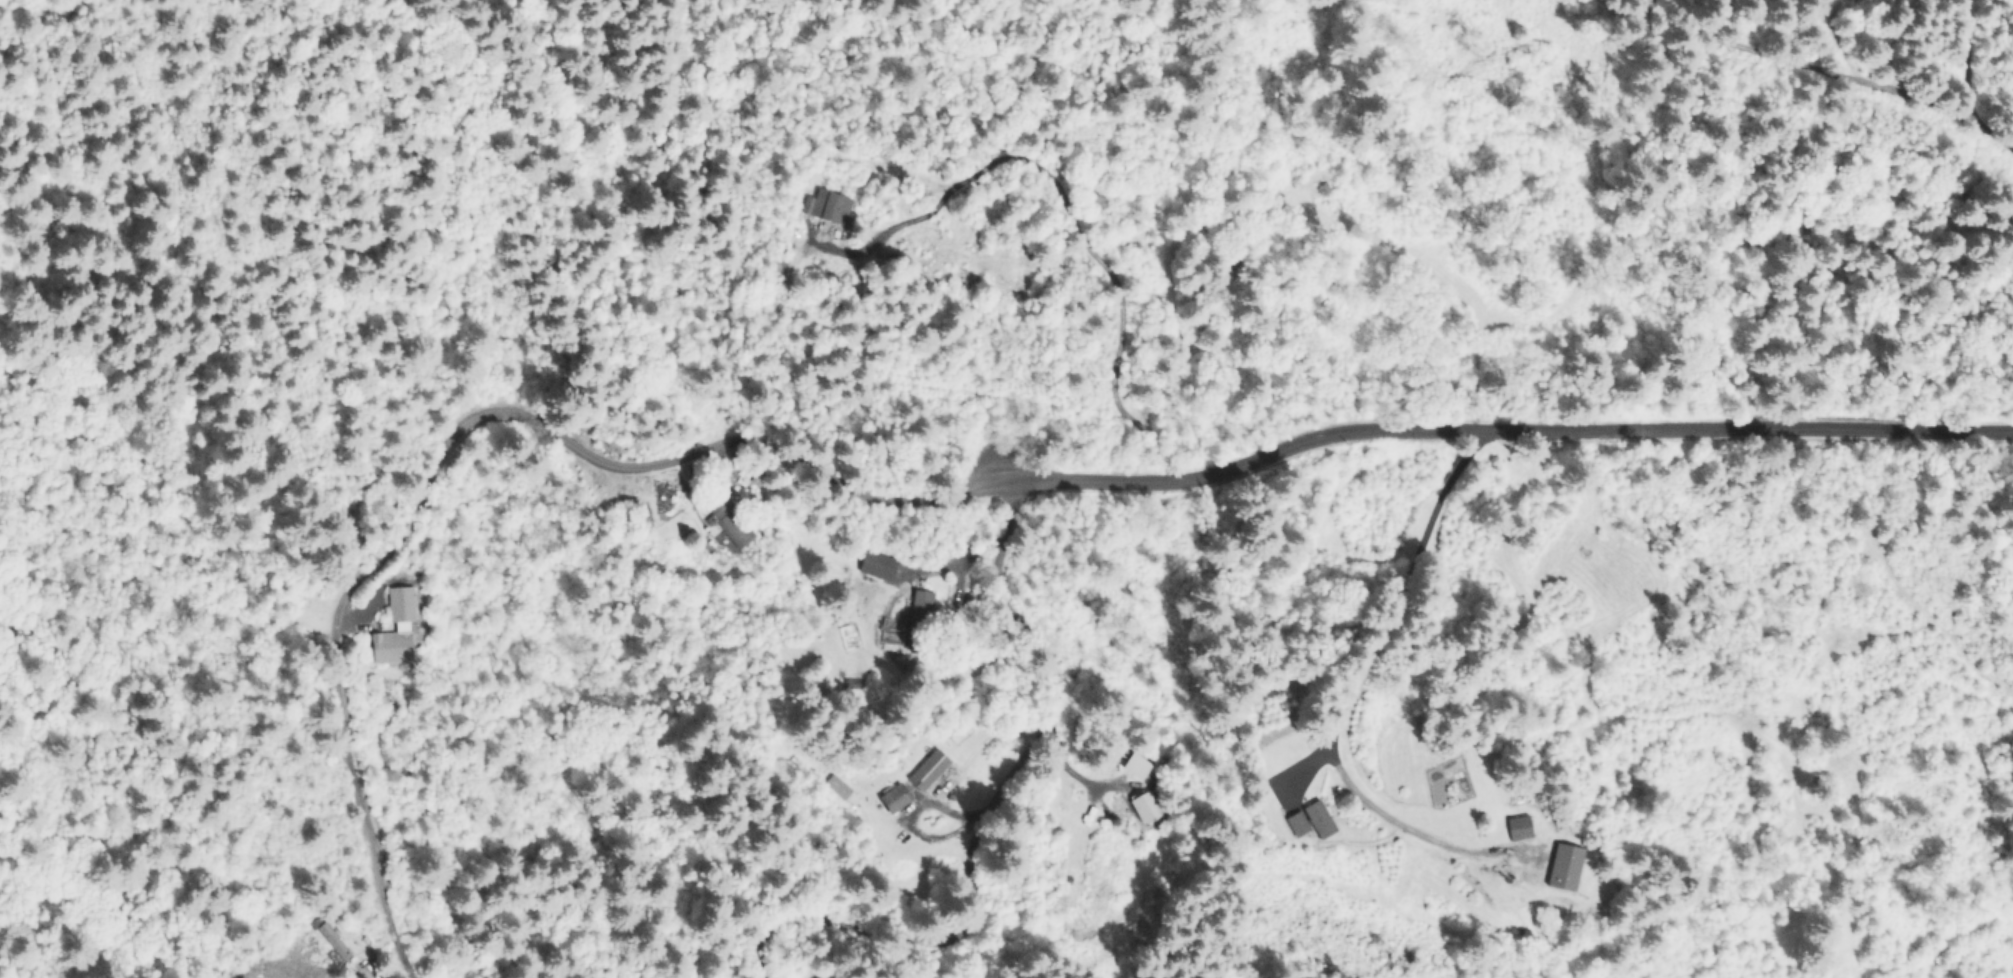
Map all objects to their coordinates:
road: (1838, 69)
building: (828, 209)
building: (1244, 346)
road: (1383, 438)
building: (728, 527)
road: (393, 539)
building: (877, 568)
road: (359, 614)
building: (919, 623)
building: (400, 624)
road: (1339, 680)
building: (1136, 769)
building: (928, 773)
building: (894, 801)
road: (993, 806)
building: (1145, 811)
building: (1311, 825)
building: (1519, 830)
building: (1565, 870)
building: (331, 945)

